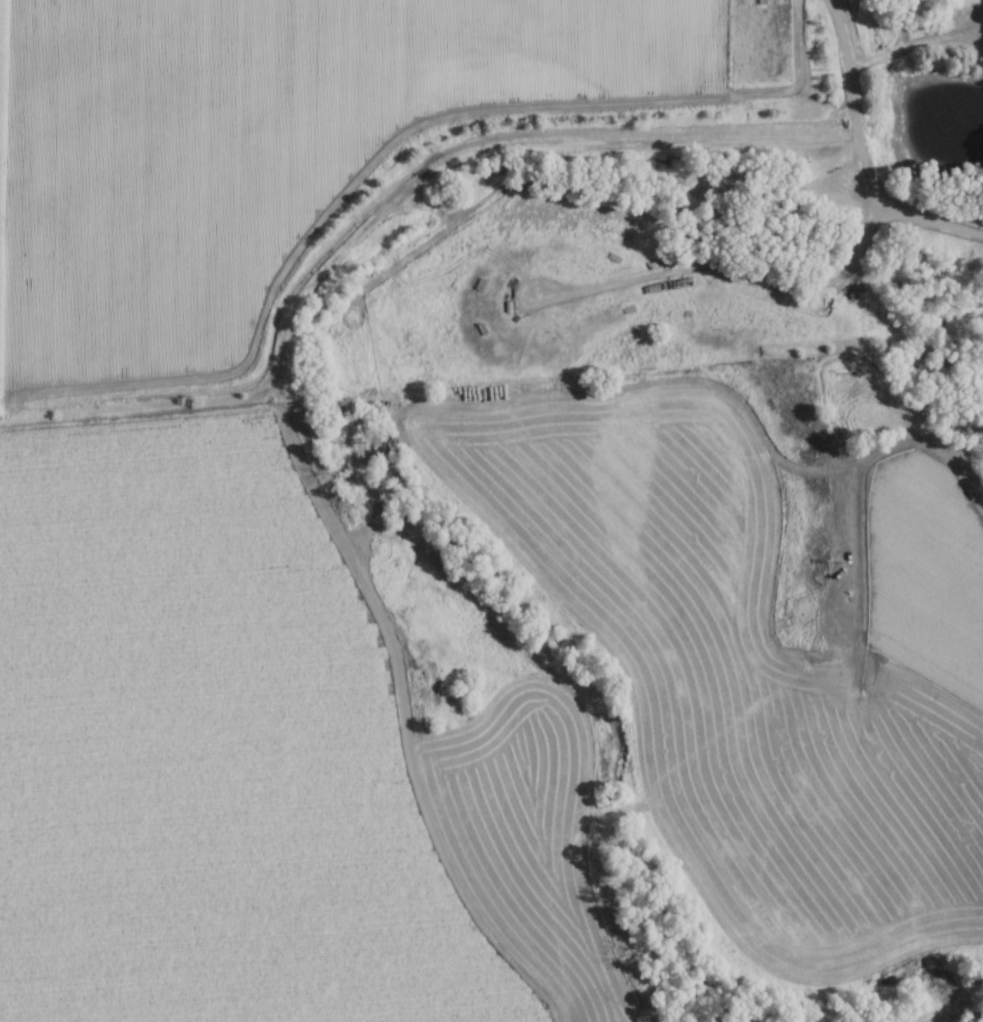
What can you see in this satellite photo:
road: (391, 133)
crop: (248, 143)
road: (860, 155)
road: (724, 270)
building: (698, 317)
road: (861, 465)
crop: (763, 659)
crop: (254, 760)
crop: (929, 1018)

